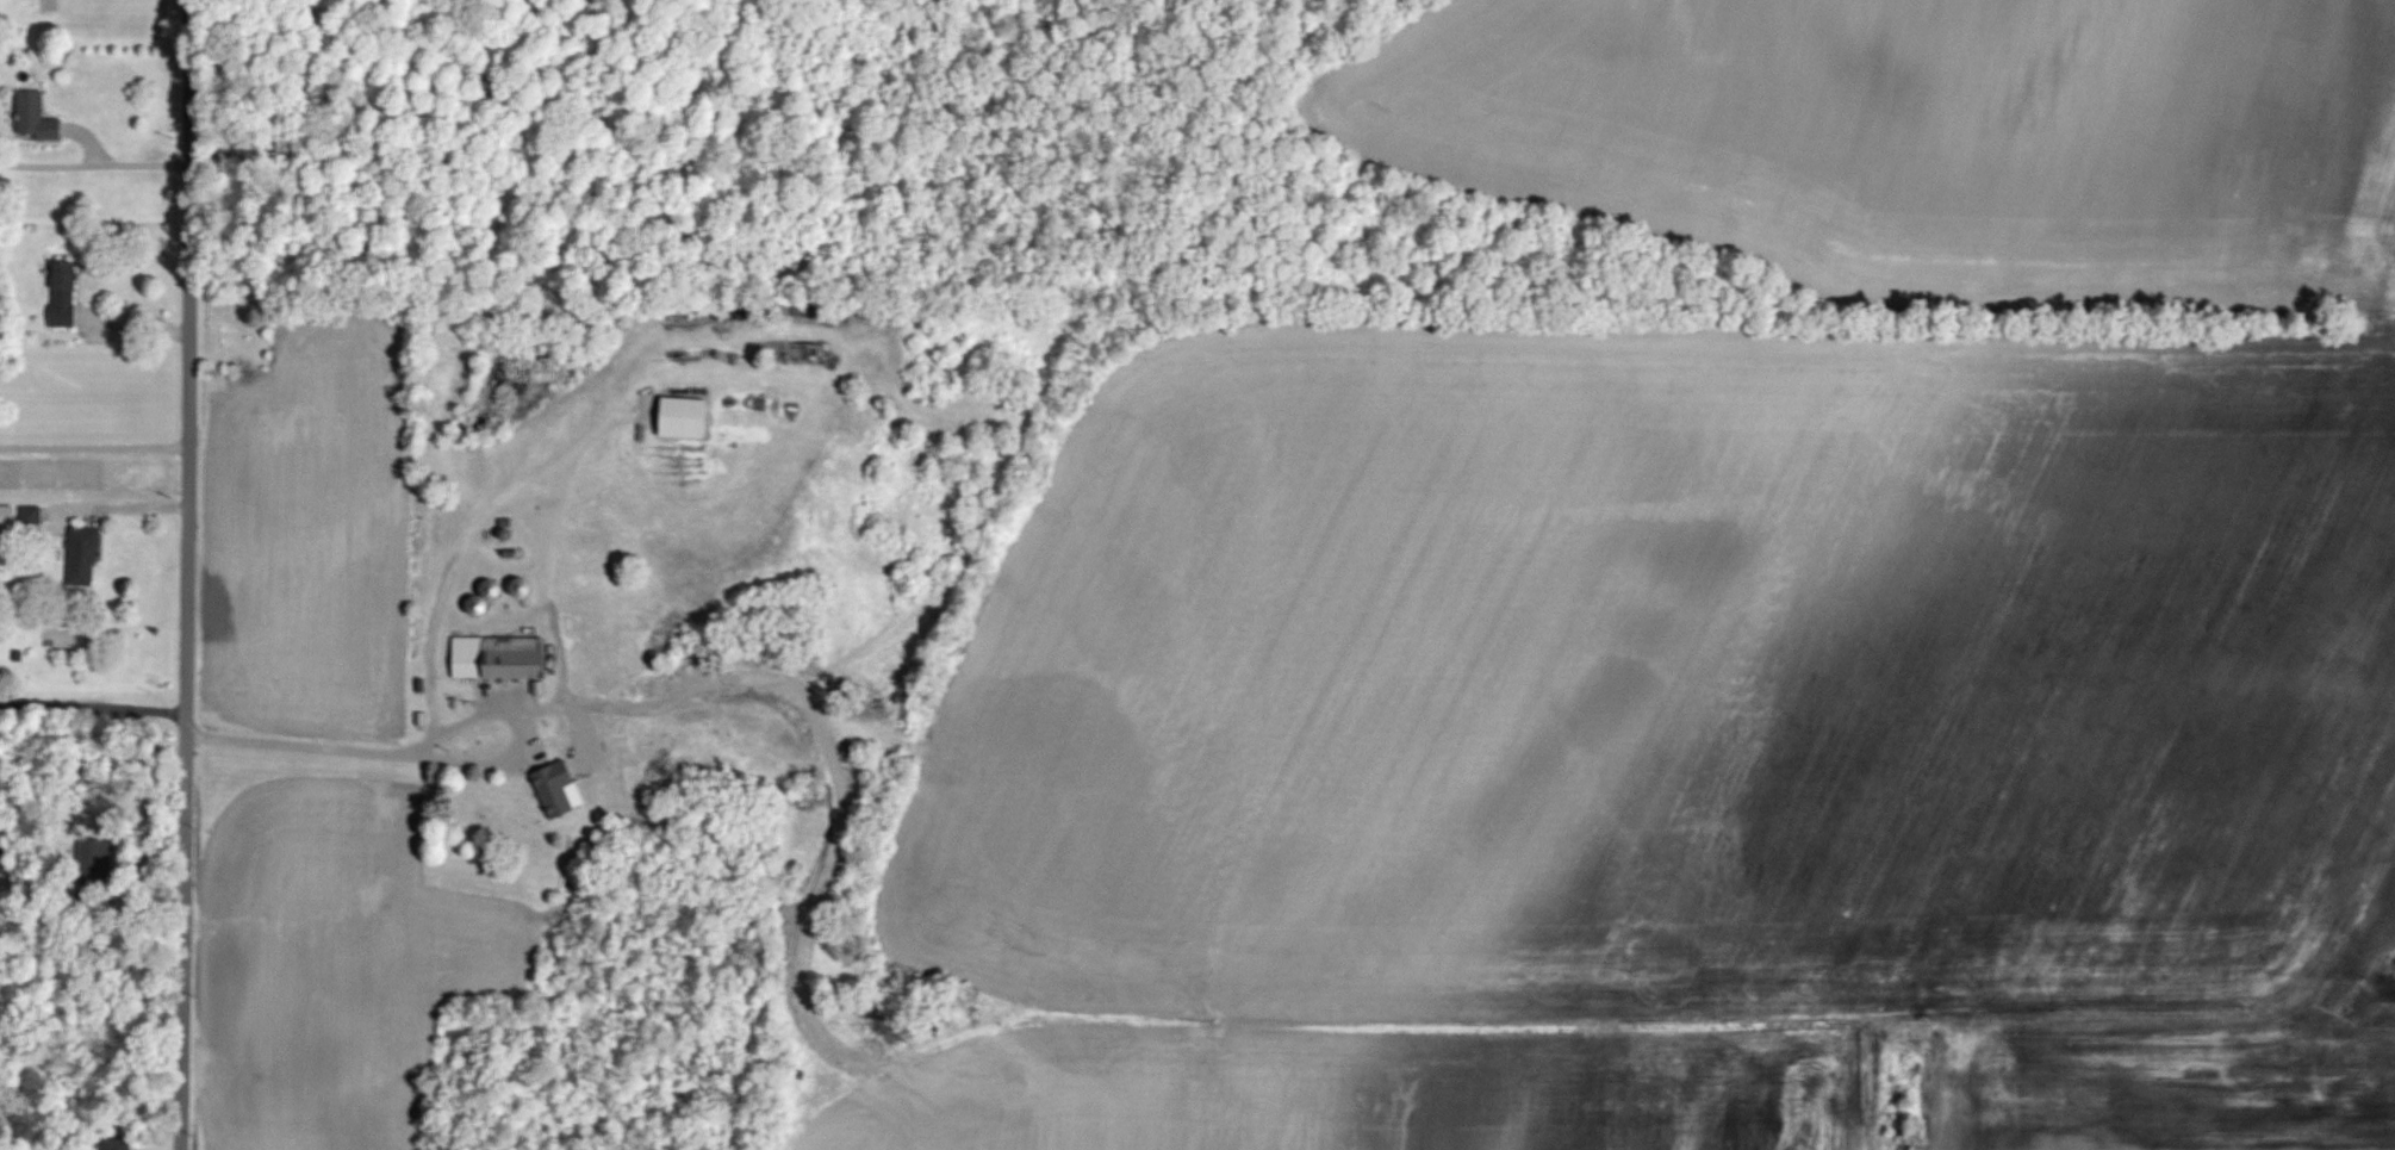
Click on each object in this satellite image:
building: (38, 116)
road: (92, 142)
building: (67, 293)
building: (689, 417)
road: (93, 448)
road: (112, 509)
building: (32, 515)
building: (8, 516)
building: (85, 557)
road: (187, 574)
building: (528, 589)
building: (483, 604)
building: (505, 657)
road: (93, 704)
road: (433, 758)
building: (564, 789)
building: (98, 852)
building: (2, 860)
building: (120, 1144)

